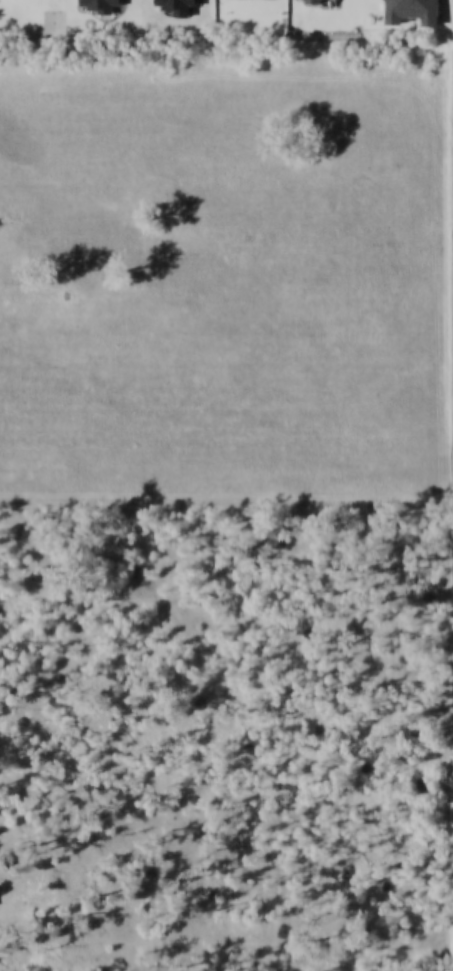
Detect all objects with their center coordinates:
building: (178, 5)
building: (412, 10)

